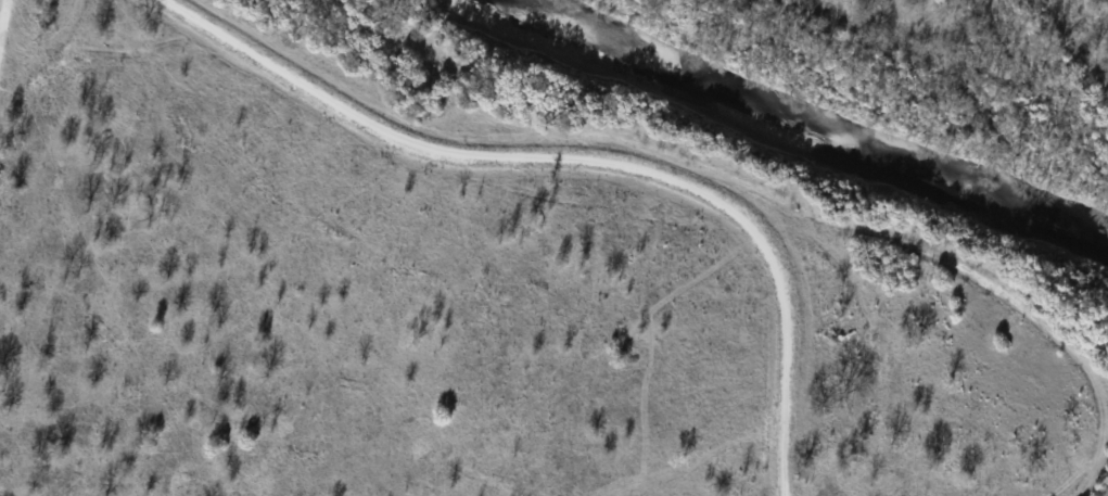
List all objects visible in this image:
river: (801, 133)
road: (589, 154)

